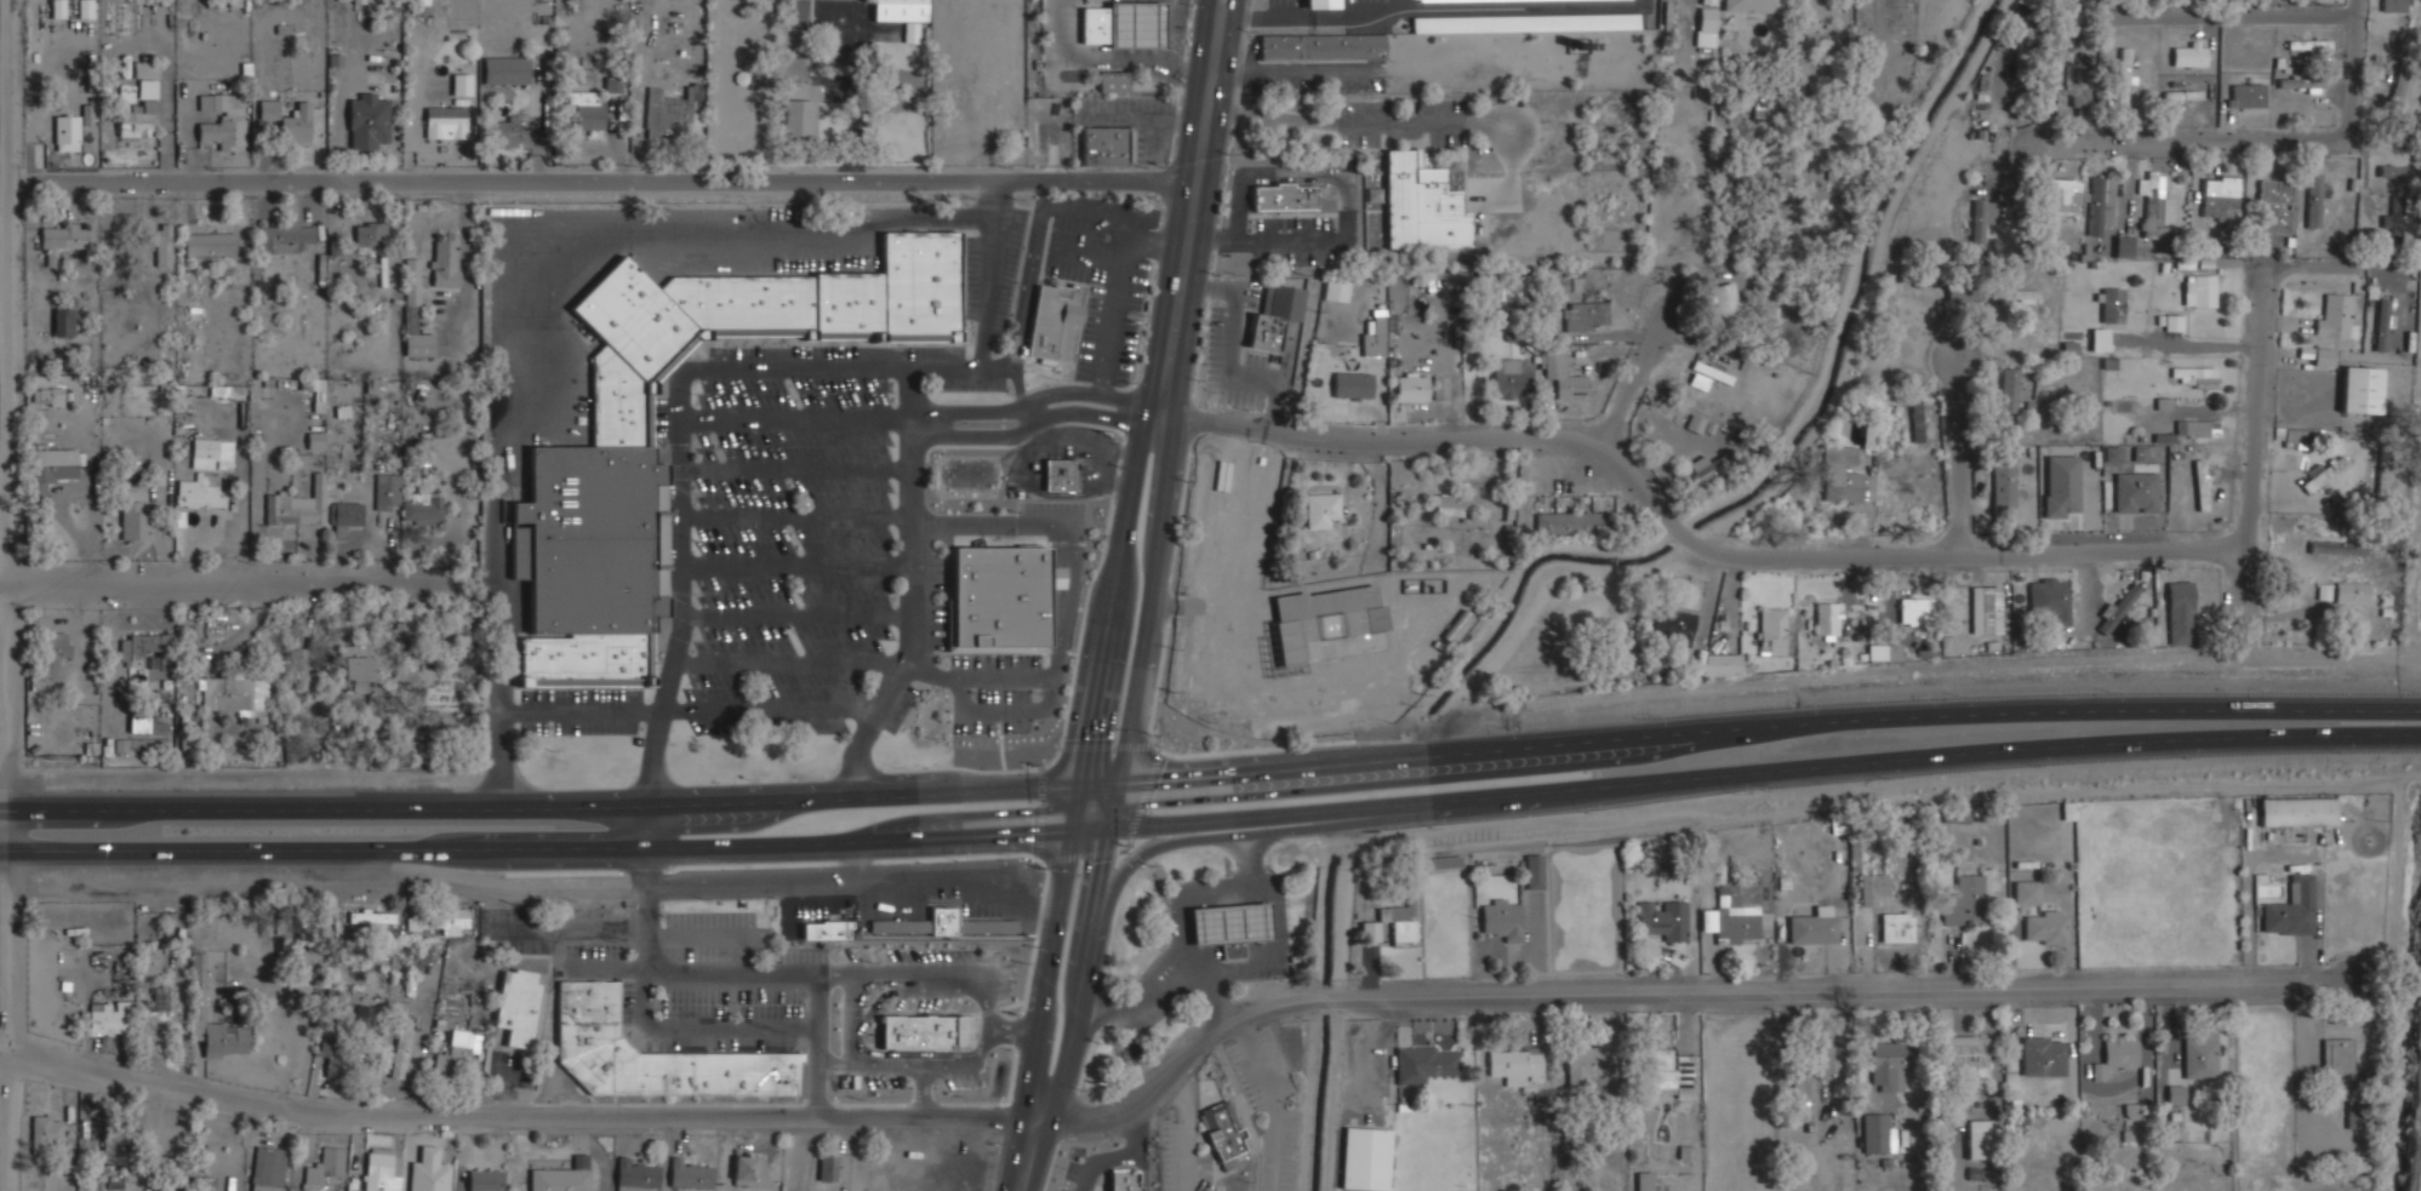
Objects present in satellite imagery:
building: (1711, 1)
building: (2025, 1)
building: (1753, 5)
building: (2398, 5)
building: (900, 10)
building: (798, 16)
building: (1707, 18)
road: (2205, 21)
building: (1123, 24)
building: (910, 32)
building: (2311, 42)
building: (1321, 45)
building: (2045, 56)
building: (2191, 56)
building: (145, 70)
building: (507, 70)
building: (2124, 75)
building: (1113, 81)
building: (2302, 81)
building: (461, 84)
building: (2400, 84)
road: (1195, 88)
road: (1223, 88)
building: (2083, 93)
building: (2183, 93)
building: (2249, 95)
building: (673, 108)
building: (269, 109)
building: (800, 109)
building: (588, 110)
building: (87, 114)
building: (223, 120)
building: (137, 121)
building: (369, 121)
building: (446, 122)
building: (297, 124)
building: (506, 132)
building: (67, 133)
road: (2277, 139)
building: (1104, 145)
building: (2396, 171)
road: (626, 179)
building: (1284, 195)
building: (2060, 195)
building: (2221, 195)
building: (2314, 199)
building: (1422, 202)
building: (2102, 202)
building: (2276, 202)
building: (2153, 205)
road: (1068, 214)
building: (2394, 217)
building: (1979, 221)
building: (370, 235)
building: (285, 237)
building: (62, 241)
building: (210, 244)
building: (2124, 245)
building: (164, 246)
building: (445, 262)
road: (2320, 267)
parking lot: (1103, 279)
building: (412, 281)
building: (1494, 286)
building: (1336, 287)
building: (2200, 288)
building: (1963, 291)
road: (1118, 294)
building: (2014, 294)
building: (2397, 296)
building: (1725, 299)
building: (2114, 303)
road: (1024, 309)
building: (1275, 314)
building: (2335, 314)
building: (1589, 315)
building: (2174, 321)
building: (63, 322)
building: (1055, 322)
building: (2381, 323)
road: (986, 333)
building: (2100, 339)
building: (418, 342)
road: (2186, 343)
building: (1371, 344)
building: (2324, 355)
building: (1712, 371)
building: (1513, 373)
building: (1564, 374)
building: (2197, 374)
road: (1641, 378)
road: (1018, 383)
building: (1353, 384)
building: (1412, 386)
building: (1439, 386)
building: (2010, 386)
building: (2363, 389)
building: (48, 396)
road: (1035, 403)
road: (796, 418)
building: (1845, 418)
building: (1917, 419)
road: (1034, 423)
road: (681, 425)
building: (2198, 426)
building: (1871, 431)
building: (2296, 436)
building: (315, 440)
road: (2250, 447)
building: (213, 451)
building: (1842, 454)
road: (1957, 457)
building: (1709, 468)
building: (50, 469)
road: (796, 469)
building: (2324, 471)
building: (1060, 474)
building: (592, 480)
road: (1164, 480)
building: (2004, 482)
building: (2203, 483)
building: (2061, 485)
building: (1845, 486)
building: (2086, 486)
building: (388, 491)
building: (2137, 491)
building: (196, 492)
building: (1455, 503)
road: (1131, 504)
building: (298, 505)
building: (1323, 505)
building: (423, 508)
building: (135, 516)
road: (796, 516)
building: (344, 519)
road: (1675, 519)
building: (1569, 522)
parking lot: (798, 529)
building: (2339, 546)
road: (910, 559)
road: (1252, 563)
road: (795, 567)
road: (236, 582)
building: (2324, 591)
building: (2352, 592)
building: (1003, 595)
building: (2051, 599)
parking lot: (935, 601)
building: (2119, 605)
building: (1912, 608)
building: (1987, 608)
building: (2182, 611)
road: (795, 618)
building: (1828, 620)
building: (1677, 623)
building: (1772, 630)
building: (1334, 642)
building: (145, 647)
building: (55, 649)
building: (360, 663)
building: (1725, 663)
road: (786, 665)
building: (236, 694)
road: (581, 709)
parking lot: (898, 709)
road: (810, 710)
parking lot: (581, 711)
building: (816, 721)
road: (1275, 721)
road: (1768, 722)
building: (139, 725)
road: (1763, 774)
traffic signals: (1118, 783)
traffic signals: (1085, 785)
road: (559, 803)
building: (2301, 809)
road: (643, 825)
road: (1090, 829)
traffic signals: (1107, 829)
traffic signals: (1073, 830)
road: (1183, 837)
road: (536, 847)
building: (1444, 861)
building: (1534, 871)
building: (1873, 886)
building: (2027, 892)
building: (1964, 901)
building: (2292, 907)
building: (372, 915)
building: (456, 917)
building: (1502, 918)
building: (1665, 920)
building: (1403, 921)
road: (1181, 922)
building: (943, 924)
building: (1231, 926)
building: (1737, 926)
building: (1897, 926)
building: (1812, 927)
building: (827, 928)
building: (2046, 928)
road: (1084, 954)
building: (152, 960)
building: (306, 969)
road: (715, 972)
road: (1046, 974)
building: (199, 986)
road: (1207, 986)
road: (1679, 992)
building: (520, 1006)
building: (110, 1017)
building: (926, 1017)
building: (366, 1018)
building: (400, 1048)
road: (987, 1049)
building: (453, 1053)
building: (652, 1053)
building: (1965, 1053)
building: (2118, 1053)
building: (2202, 1053)
building: (2044, 1057)
building: (2339, 1057)
building: (336, 1058)
building: (1831, 1058)
building: (1424, 1061)
building: (1588, 1061)
building: (1517, 1064)
building: (1889, 1064)
road: (872, 1071)
building: (1666, 1071)
building: (1804, 1086)
building: (2176, 1093)
building: (2358, 1113)
road: (513, 1116)
building: (2175, 1122)
building: (46, 1130)
building: (1879, 1132)
building: (1224, 1134)
building: (1979, 1138)
road: (799, 1155)
road: (1027, 1155)
building: (1366, 1157)
building: (829, 1166)
building: (268, 1168)
building: (324, 1168)
building: (381, 1168)
building: (429, 1168)
building: (752, 1170)
building: (690, 1172)
building: (636, 1174)
building: (564, 1175)
building: (486, 1179)
building: (1124, 1180)
building: (1644, 1180)
building: (204, 1184)
building: (166, 1189)
building: (1120, 1190)

